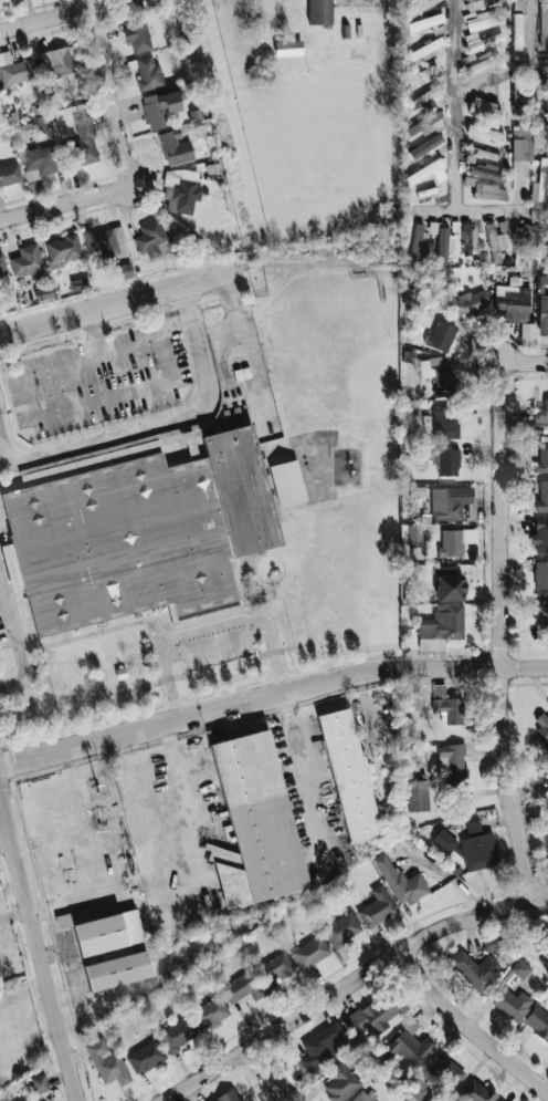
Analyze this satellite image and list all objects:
building: (479, 3)
building: (130, 4)
building: (421, 4)
building: (319, 12)
road: (43, 19)
building: (482, 19)
building: (425, 22)
building: (544, 24)
building: (518, 27)
road: (531, 32)
building: (137, 33)
building: (484, 42)
building: (288, 48)
building: (425, 51)
building: (479, 61)
building: (55, 62)
building: (14, 69)
building: (429, 71)
building: (148, 73)
road: (108, 92)
building: (517, 93)
building: (428, 97)
building: (539, 97)
building: (160, 107)
building: (485, 108)
building: (42, 121)
building: (422, 126)
road: (454, 129)
building: (521, 131)
building: (484, 132)
building: (540, 133)
building: (86, 139)
building: (175, 147)
building: (426, 147)
building: (520, 148)
building: (484, 154)
building: (40, 160)
building: (486, 172)
building: (9, 173)
building: (426, 173)
building: (540, 183)
building: (486, 189)
building: (180, 190)
road: (66, 202)
building: (538, 215)
building: (432, 227)
building: (454, 227)
building: (528, 233)
building: (471, 237)
building: (495, 238)
building: (151, 239)
building: (103, 240)
building: (418, 241)
building: (443, 245)
building: (63, 248)
building: (27, 261)
building: (2, 264)
building: (123, 271)
building: (43, 292)
building: (513, 301)
road: (119, 303)
building: (467, 304)
building: (542, 313)
road: (95, 334)
building: (441, 335)
road: (244, 350)
building: (436, 374)
road: (171, 382)
parking lot: (102, 384)
building: (541, 412)
building: (443, 422)
road: (159, 424)
building: (542, 455)
building: (447, 461)
building: (287, 481)
building: (542, 495)
building: (449, 501)
building: (139, 528)
building: (412, 534)
building: (540, 534)
building: (450, 542)
building: (540, 573)
building: (450, 583)
road: (503, 606)
building: (542, 615)
building: (442, 622)
road: (212, 636)
road: (17, 637)
road: (271, 697)
building: (447, 705)
building: (541, 729)
building: (454, 760)
road: (313, 772)
building: (348, 773)
building: (417, 794)
road: (187, 803)
building: (254, 822)
building: (546, 838)
building: (444, 841)
building: (478, 848)
building: (401, 882)
road: (78, 900)
building: (377, 907)
road: (14, 911)
building: (341, 929)
building: (102, 931)
building: (492, 944)
road: (40, 952)
building: (310, 952)
building: (275, 969)
building: (475, 969)
building: (117, 970)
road: (352, 985)
building: (243, 988)
building: (512, 1003)
building: (210, 1014)
building: (373, 1014)
building: (538, 1022)
road: (470, 1027)
building: (177, 1034)
building: (324, 1045)
building: (408, 1047)
building: (146, 1057)
building: (107, 1063)
building: (445, 1071)
road: (268, 1077)
building: (341, 1080)
building: (39, 1083)
building: (476, 1092)
building: (228, 1095)
building: (365, 1097)
building: (25, 1099)
building: (502, 1100)

